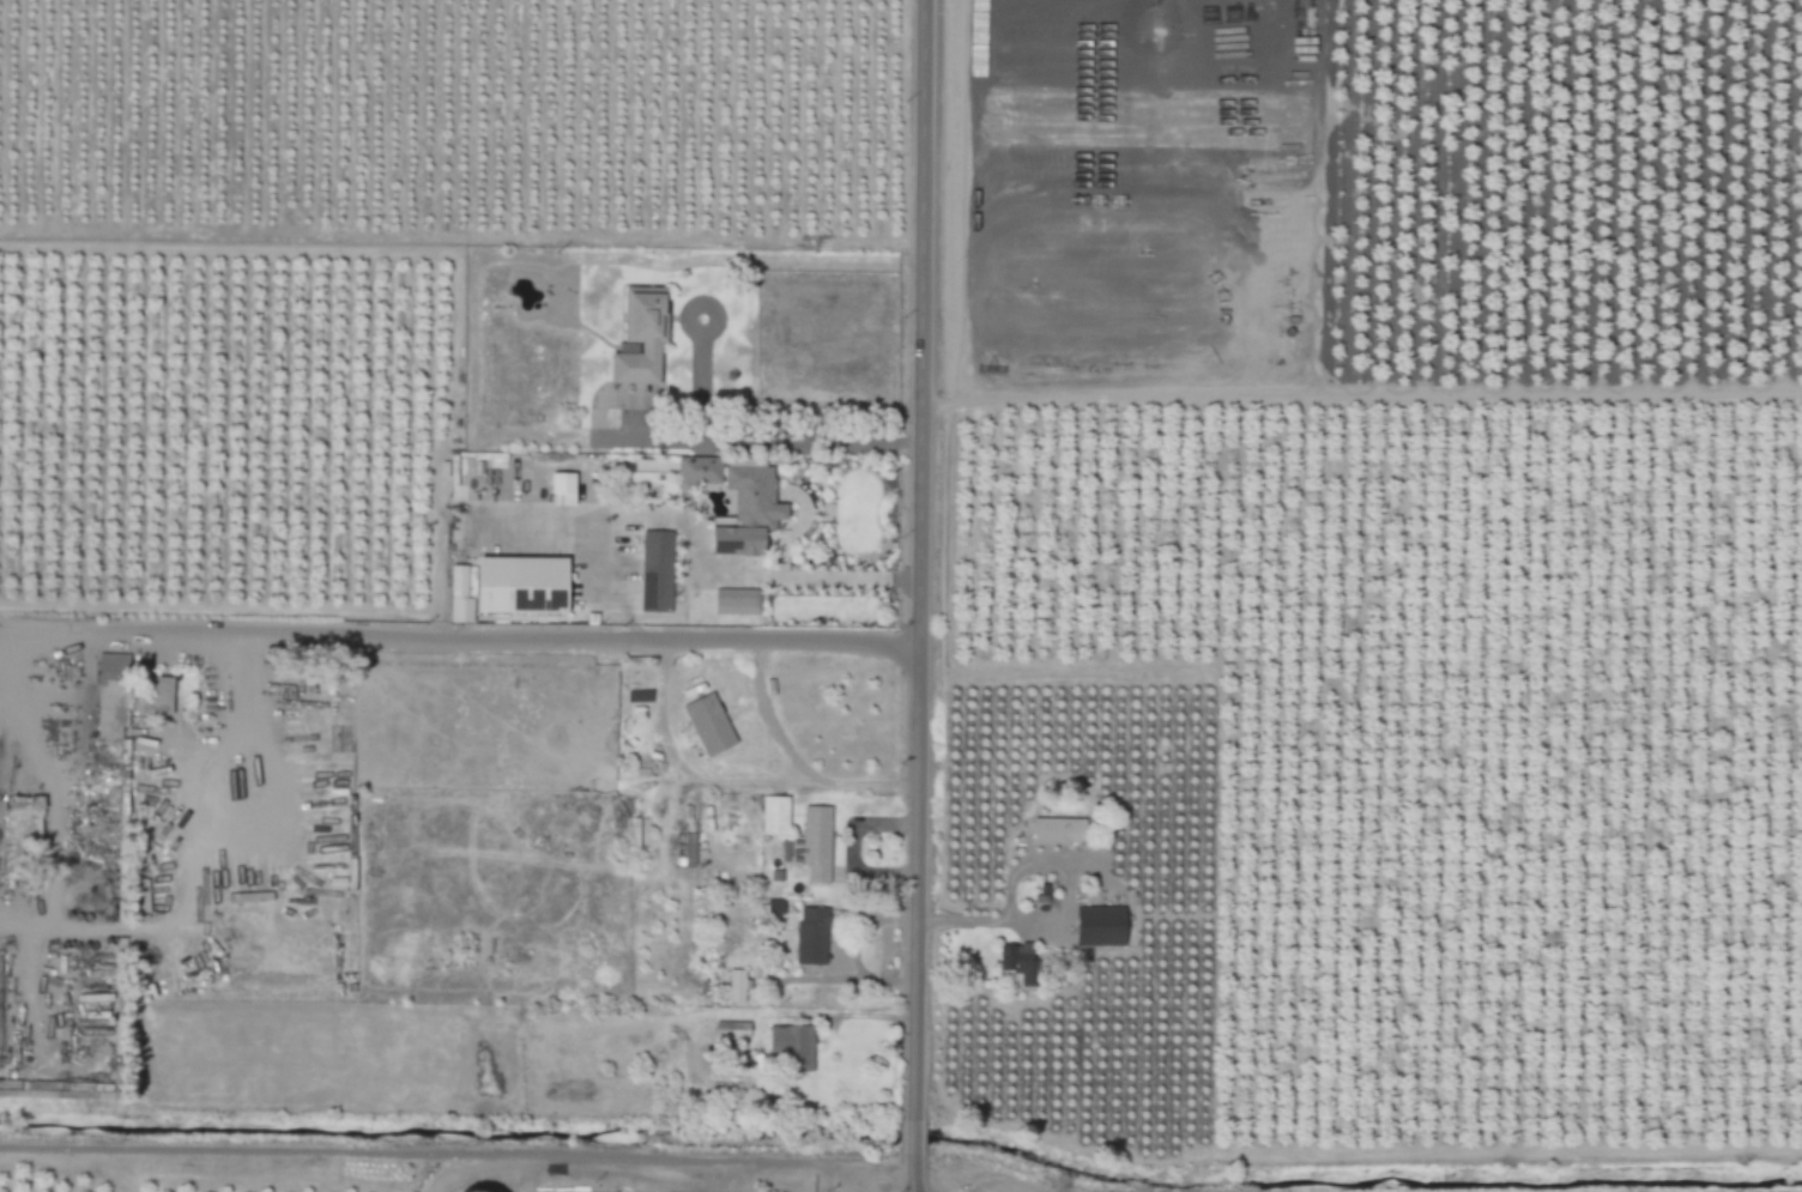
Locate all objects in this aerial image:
building: (642, 338)
road: (763, 442)
building: (701, 471)
building: (563, 489)
building: (749, 512)
road: (926, 559)
building: (658, 570)
road: (853, 582)
building: (521, 583)
building: (460, 597)
road: (482, 637)
building: (53, 684)
building: (114, 694)
building: (159, 696)
road: (770, 722)
building: (709, 725)
road: (736, 782)
building: (776, 816)
building: (1059, 830)
building: (818, 843)
building: (687, 851)
road: (1059, 910)
building: (1101, 926)
building: (814, 936)
building: (1020, 962)
building: (739, 986)
building: (733, 1030)
building: (794, 1048)
road: (923, 1140)
road: (921, 1176)
building: (458, 1190)

